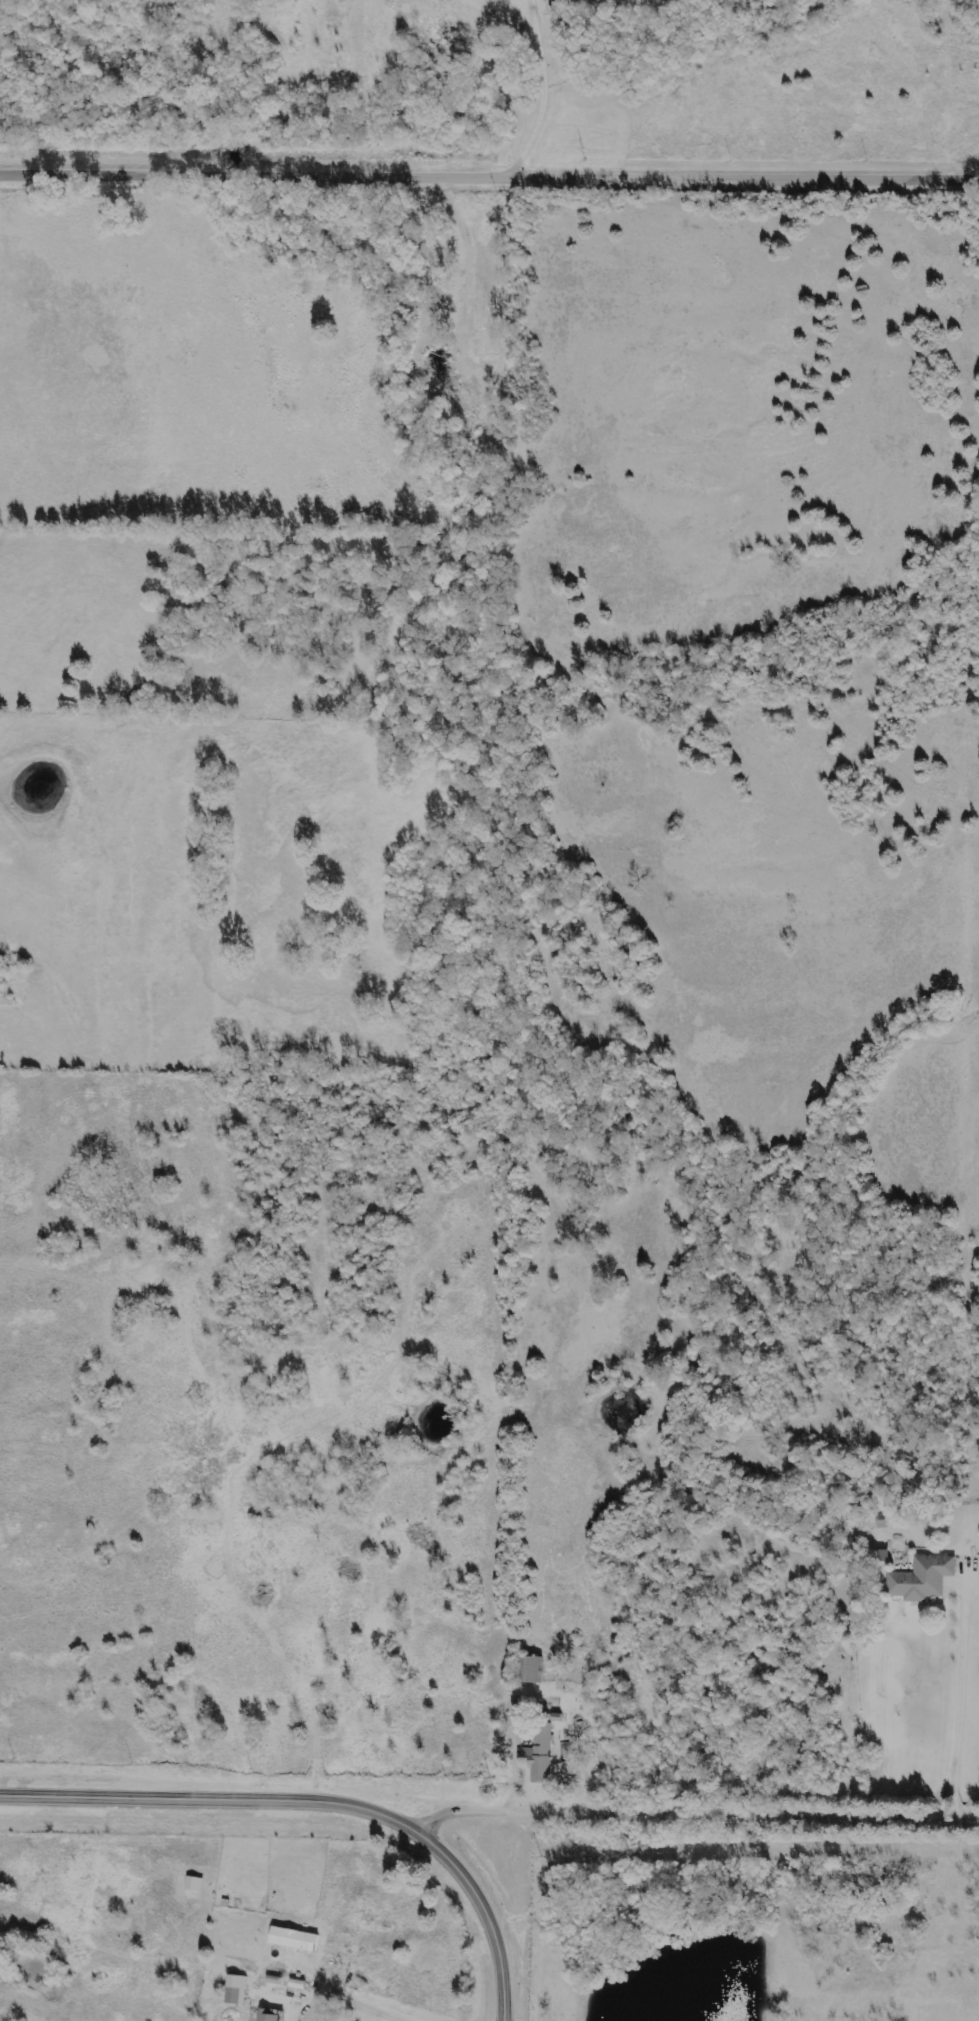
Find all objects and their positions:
road: (544, 73)
road: (489, 169)
building: (919, 1580)
building: (527, 1671)
road: (958, 1688)
building: (537, 1756)
road: (508, 1770)
road: (319, 1801)
road: (693, 1811)
building: (291, 1940)
building: (239, 1988)
road: (361, 2000)
building: (265, 2017)

